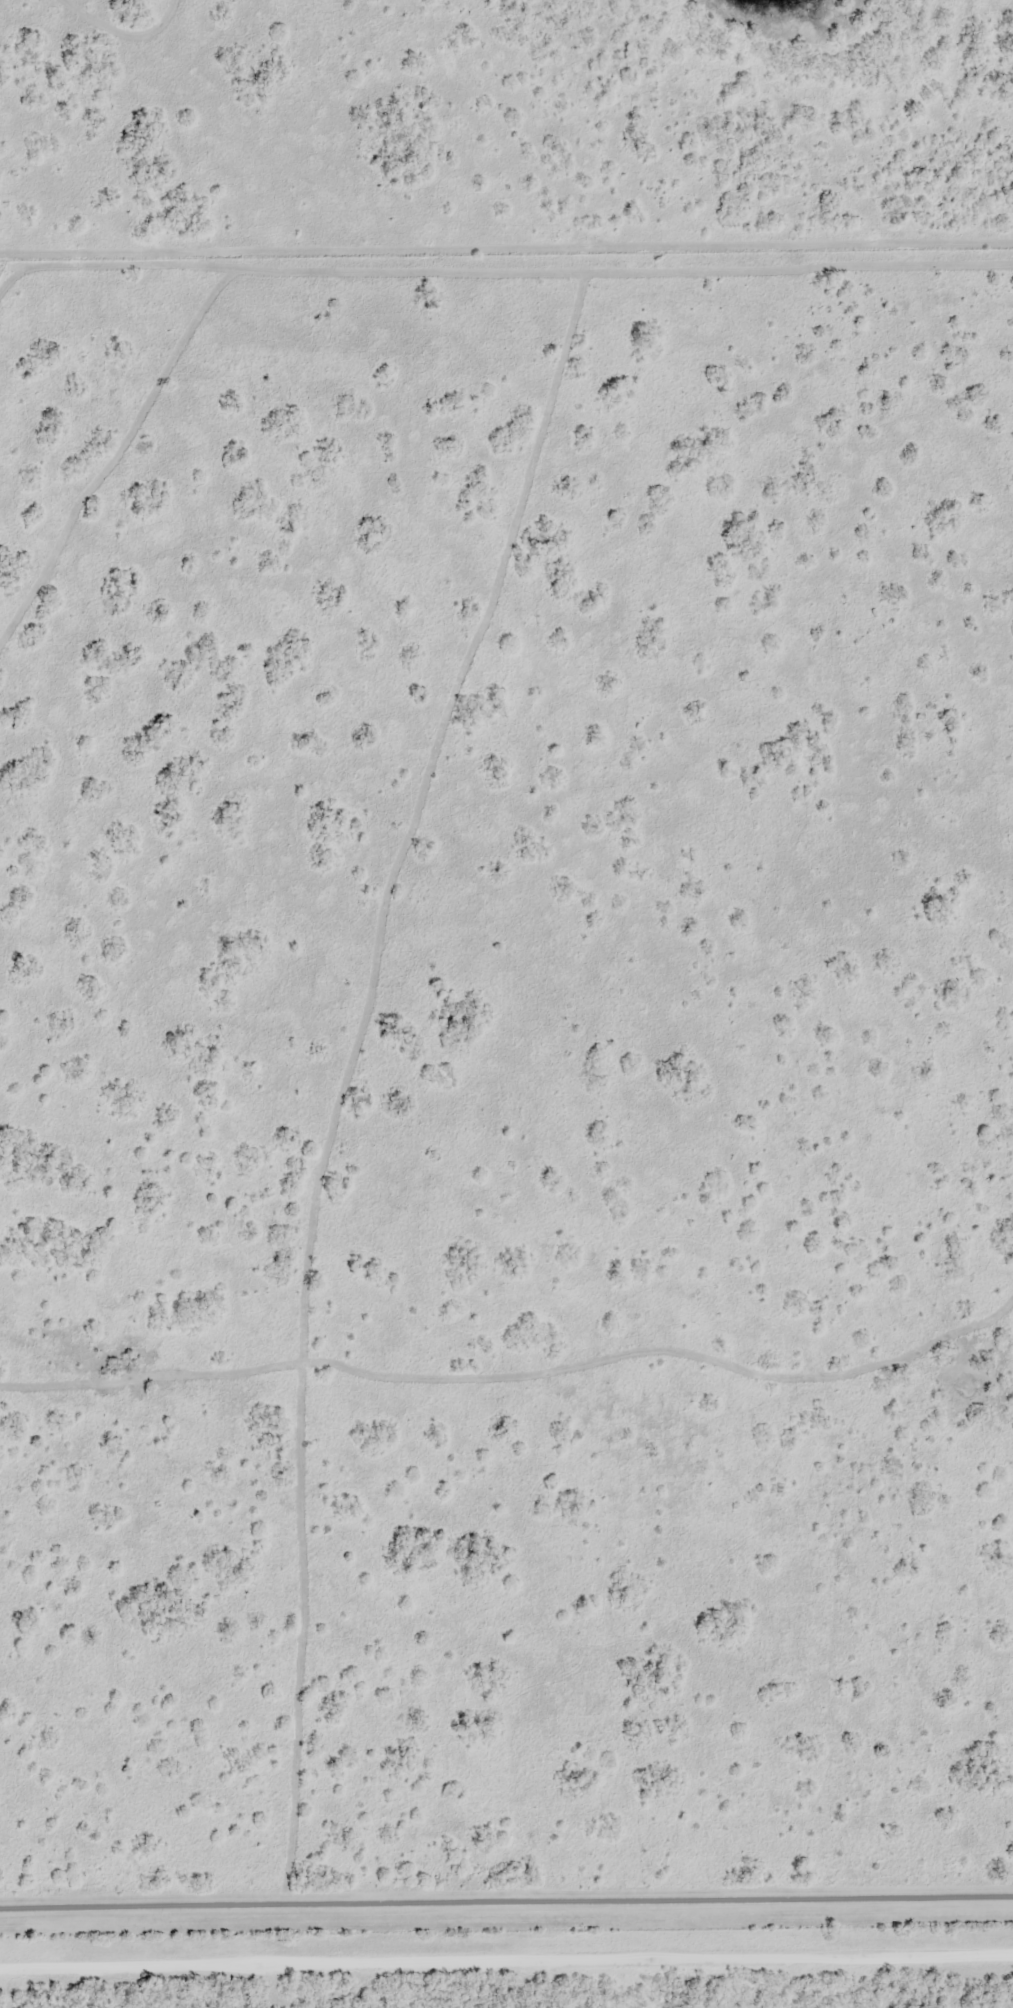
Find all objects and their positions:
road: (506, 1908)
road: (506, 1961)

